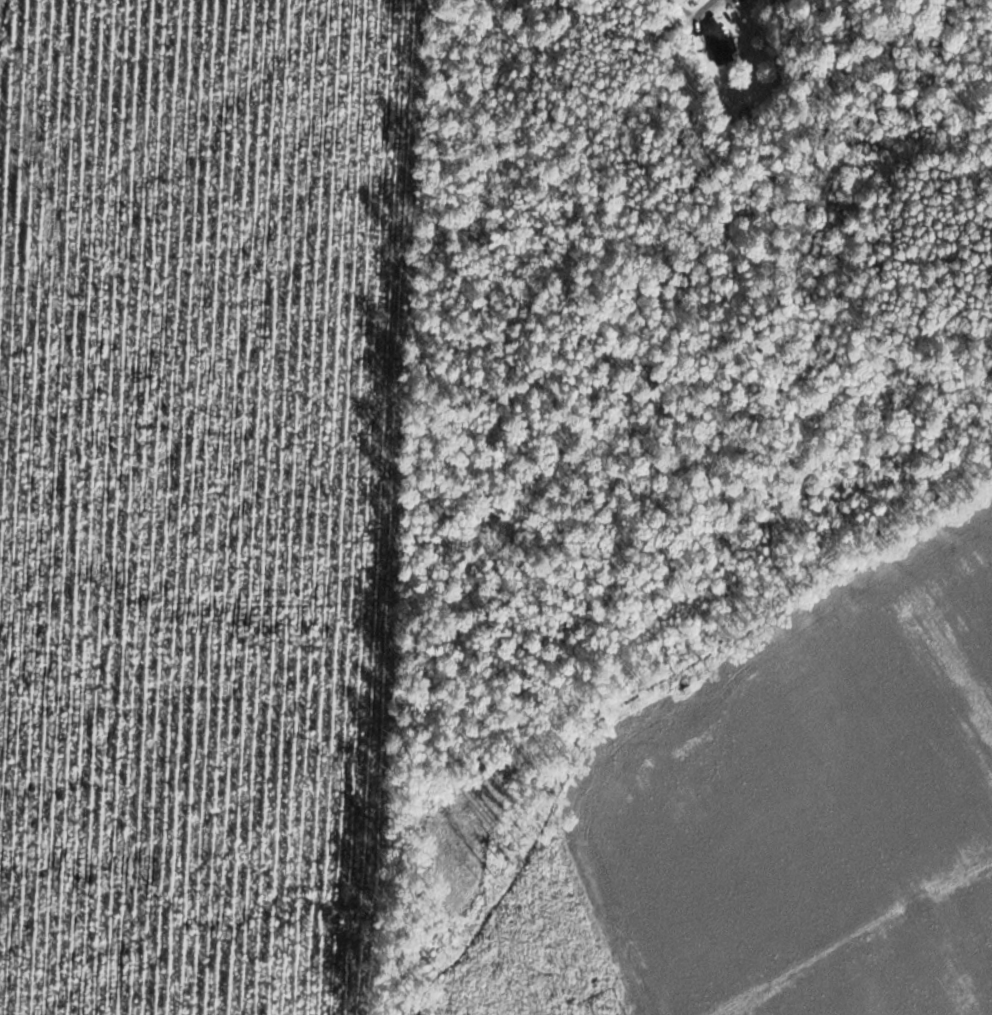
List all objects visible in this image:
road: (4, 17)
building: (719, 46)

